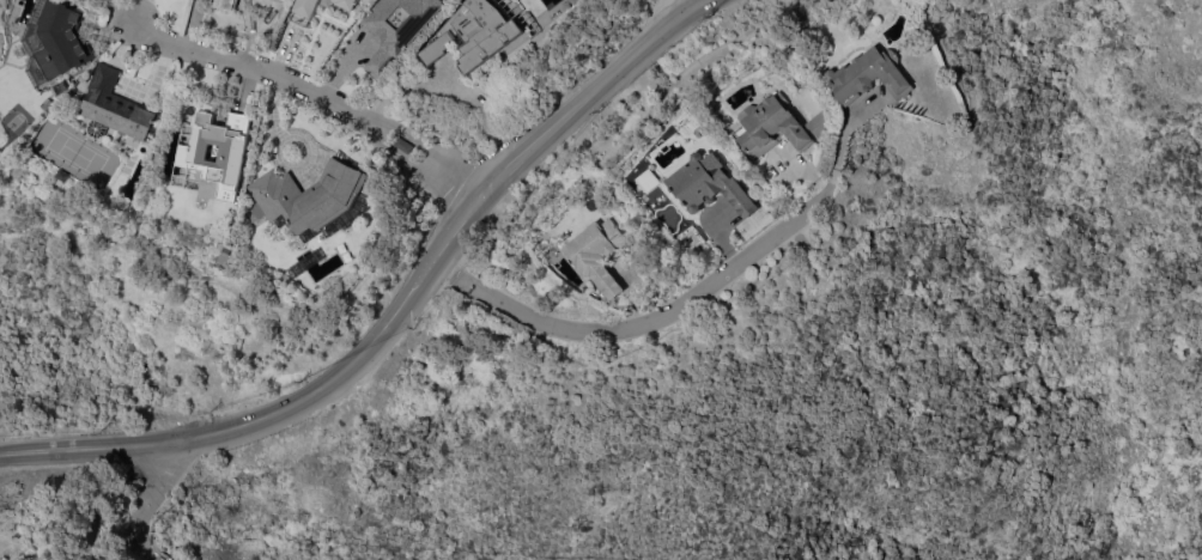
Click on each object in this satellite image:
building: (225, 4)
building: (347, 4)
building: (306, 8)
road: (190, 23)
building: (397, 28)
building: (474, 34)
building: (61, 39)
road: (255, 67)
building: (872, 74)
road: (408, 86)
building: (117, 105)
building: (777, 124)
road: (406, 134)
building: (402, 145)
road: (838, 150)
building: (193, 152)
road: (391, 157)
building: (63, 175)
road: (456, 179)
building: (709, 185)
building: (310, 194)
road: (473, 202)
building: (600, 254)
road: (636, 325)
road: (134, 442)
road: (144, 500)

